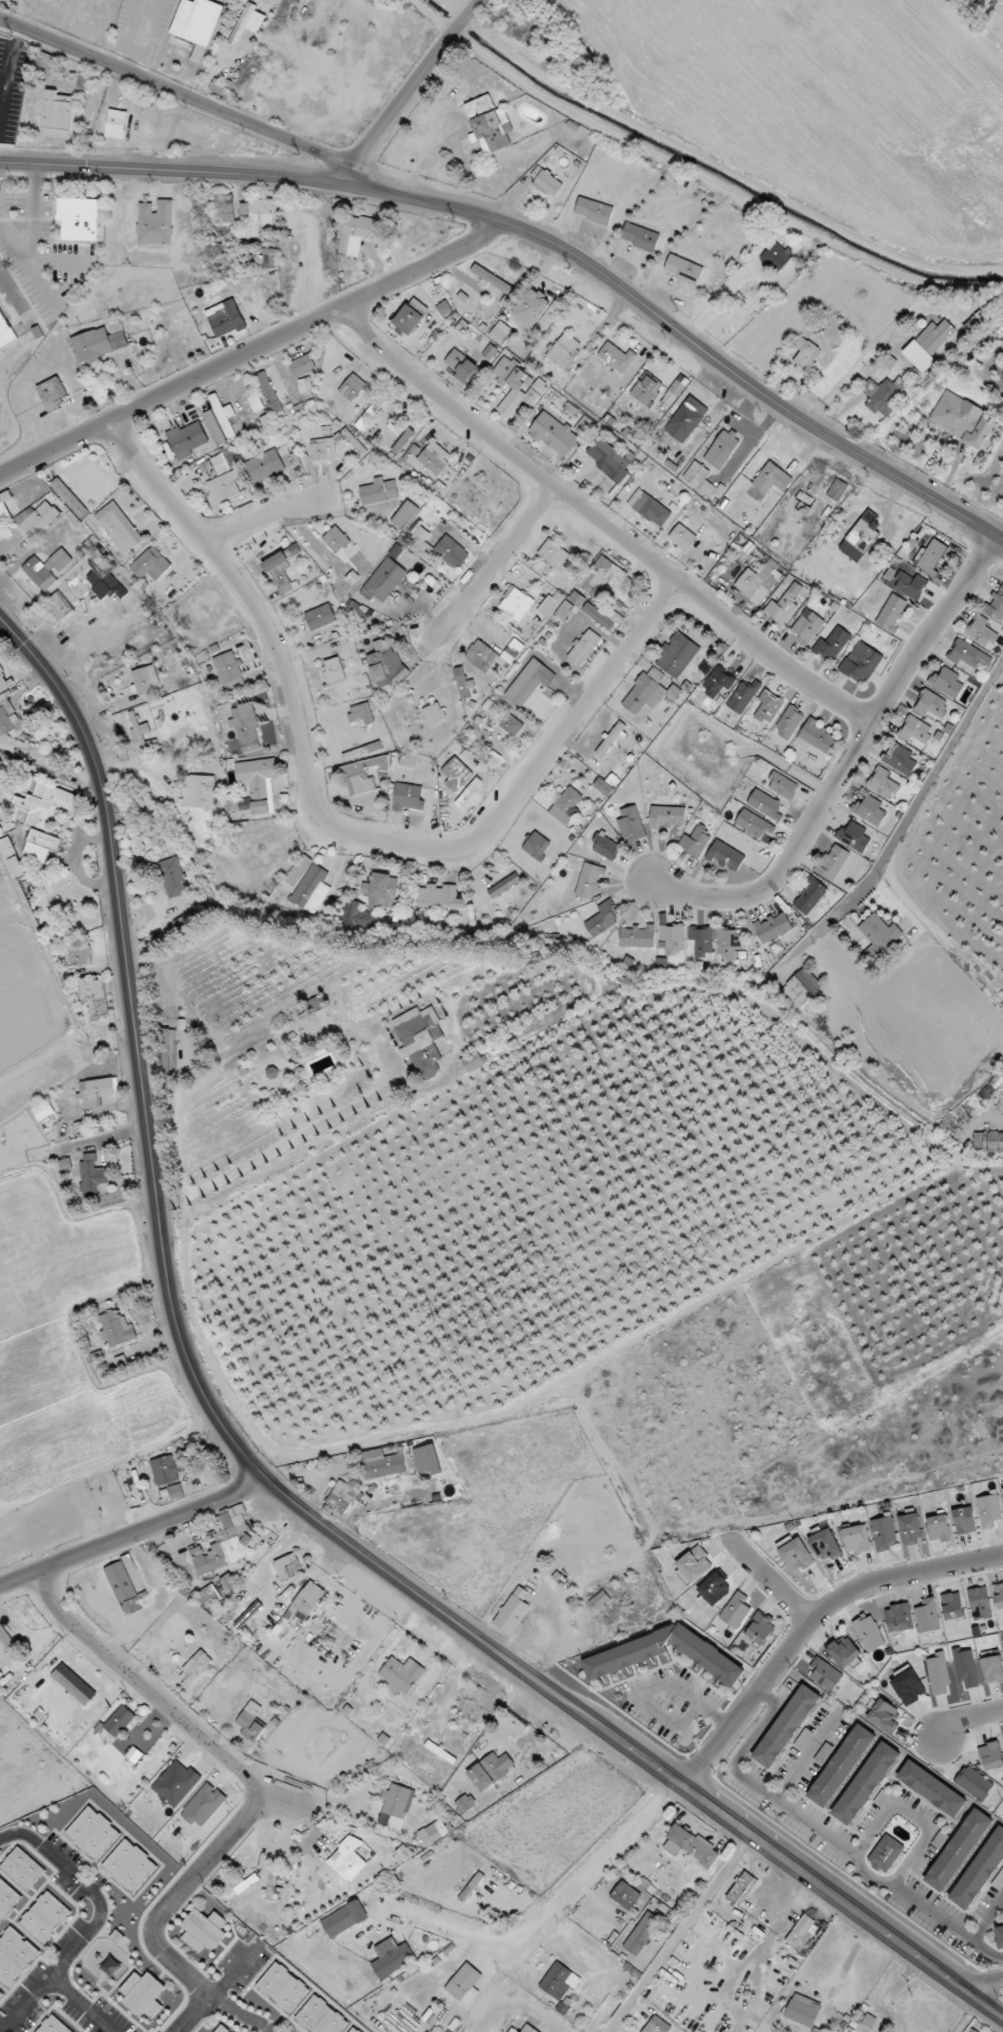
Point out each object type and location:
road: (478, 5)
building: (197, 24)
building: (243, 24)
building: (46, 60)
road: (178, 93)
road: (405, 96)
building: (58, 114)
building: (116, 124)
building: (489, 124)
road: (170, 170)
building: (548, 183)
road: (423, 201)
building: (224, 207)
building: (244, 209)
building: (594, 211)
building: (260, 216)
building: (79, 218)
building: (155, 223)
building: (355, 234)
building: (640, 237)
building: (214, 249)
building: (776, 256)
building: (270, 257)
building: (683, 269)
building: (494, 282)
building: (444, 309)
building: (411, 316)
building: (225, 318)
building: (729, 326)
building: (499, 332)
building: (4, 334)
building: (936, 336)
building: (92, 345)
road: (252, 348)
building: (490, 351)
building: (563, 351)
building: (806, 355)
building: (918, 356)
building: (616, 357)
building: (303, 365)
building: (461, 365)
road: (750, 384)
building: (352, 387)
building: (517, 387)
building: (646, 389)
building: (269, 392)
building: (52, 394)
building: (884, 395)
building: (669, 397)
building: (256, 402)
building: (371, 412)
building: (955, 413)
building: (223, 416)
building: (686, 419)
building: (215, 427)
building: (980, 433)
building: (554, 434)
building: (186, 440)
building: (403, 441)
building: (323, 449)
building: (722, 449)
building: (428, 458)
building: (609, 459)
building: (222, 463)
building: (265, 466)
building: (772, 478)
building: (702, 481)
building: (224, 486)
building: (837, 490)
building: (379, 491)
building: (69, 498)
building: (652, 510)
building: (405, 515)
building: (37, 518)
road: (259, 519)
road: (601, 522)
building: (118, 528)
building: (682, 537)
building: (861, 537)
building: (336, 540)
building: (437, 549)
building: (745, 551)
building: (554, 555)
building: (930, 556)
building: (151, 564)
road: (494, 564)
building: (280, 566)
building: (47, 568)
building: (100, 572)
building: (608, 576)
building: (384, 581)
building: (759, 581)
building: (909, 584)
building: (577, 598)
building: (516, 603)
building: (57, 605)
building: (995, 605)
building: (548, 606)
building: (781, 609)
building: (566, 610)
building: (892, 612)
building: (598, 616)
building: (320, 617)
building: (808, 626)
building: (980, 631)
building: (832, 644)
building: (584, 647)
building: (493, 655)
building: (676, 655)
building: (969, 656)
building: (862, 662)
building: (386, 665)
building: (705, 668)
building: (334, 670)
building: (229, 672)
building: (146, 679)
building: (3, 680)
building: (529, 681)
building: (718, 682)
building: (946, 682)
building: (464, 684)
building: (645, 691)
building: (674, 692)
building: (743, 696)
building: (931, 704)
building: (768, 707)
building: (497, 711)
building: (361, 713)
building: (433, 714)
building: (8, 717)
building: (789, 723)
building: (512, 725)
building: (138, 727)
building: (246, 728)
building: (916, 730)
building: (815, 737)
building: (362, 751)
building: (899, 759)
road: (848, 761)
road: (938, 769)
building: (456, 774)
building: (363, 775)
building: (256, 781)
building: (883, 783)
building: (782, 786)
building: (199, 791)
building: (408, 797)
building: (565, 805)
building: (765, 805)
building: (869, 810)
building: (667, 816)
building: (45, 818)
building: (630, 823)
building: (754, 824)
road: (333, 825)
building: (853, 837)
building: (695, 841)
building: (537, 845)
building: (605, 846)
building: (726, 856)
building: (832, 863)
building: (298, 869)
building: (176, 878)
building: (589, 881)
building: (504, 885)
building: (312, 889)
building: (381, 890)
building: (810, 895)
building: (439, 897)
building: (353, 913)
building: (603, 919)
building: (773, 927)
building: (880, 932)
building: (638, 936)
building: (672, 938)
building: (702, 940)
building: (729, 943)
building: (79, 955)
building: (802, 987)
road: (918, 988)
building: (94, 996)
building: (420, 1040)
building: (473, 1061)
building: (991, 1089)
building: (98, 1090)
building: (43, 1110)
building: (988, 1142)
building: (92, 1176)
building: (117, 1329)
building: (427, 1459)
building: (382, 1464)
building: (166, 1470)
road: (263, 1474)
building: (175, 1491)
building: (343, 1496)
building: (989, 1510)
building: (964, 1520)
building: (939, 1528)
building: (911, 1529)
road: (134, 1533)
building: (883, 1533)
building: (857, 1540)
building: (226, 1541)
building: (825, 1545)
building: (796, 1555)
building: (693, 1565)
building: (286, 1566)
road: (772, 1577)
building: (126, 1589)
building: (715, 1589)
building: (999, 1595)
building: (210, 1596)
building: (601, 1601)
building: (980, 1603)
building: (302, 1606)
building: (952, 1606)
building: (736, 1610)
building: (513, 1611)
building: (927, 1616)
building: (899, 1618)
road: (811, 1622)
building: (760, 1627)
building: (869, 1633)
building: (8, 1642)
building: (843, 1651)
building: (623, 1656)
building: (965, 1667)
building: (194, 1668)
building: (993, 1669)
building: (938, 1673)
building: (825, 1674)
building: (402, 1675)
building: (71, 1687)
road: (156, 1698)
building: (884, 1716)
road: (965, 1718)
building: (251, 1722)
building: (514, 1724)
building: (787, 1726)
building: (804, 1739)
building: (824, 1754)
building: (991, 1756)
building: (841, 1766)
building: (490, 1770)
building: (176, 1783)
building: (866, 1783)
building: (974, 1783)
building: (932, 1789)
building: (465, 1803)
building: (203, 1805)
building: (395, 1806)
building: (434, 1832)
building: (93, 1833)
road: (823, 1833)
road: (6, 1835)
building: (941, 1840)
building: (691, 1846)
building: (959, 1850)
building: (886, 1854)
building: (347, 1859)
building: (130, 1865)
building: (23, 1868)
building: (980, 1871)
building: (999, 1881)
building: (244, 1883)
building: (471, 1887)
building: (740, 1887)
building: (626, 1895)
road: (794, 1897)
building: (7, 1898)
road: (550, 1912)
building: (45, 1917)
road: (152, 1917)
road: (987, 1918)
building: (344, 1919)
road: (91, 1927)
building: (203, 1930)
building: (642, 1933)
road: (679, 1933)
building: (802, 1933)
building: (1000, 1935)
road: (763, 1945)
building: (14, 1955)
building: (392, 1957)
road: (846, 1967)
building: (559, 1981)
building: (465, 1984)
road: (986, 1985)
building: (283, 1987)
road: (891, 1991)
building: (0, 1992)
building: (143, 1994)
road: (81, 2004)
building: (406, 2006)
building: (803, 2010)
road: (191, 2013)
road: (968, 2016)
building: (321, 2017)
building: (54, 2025)
building: (657, 2025)
building: (529, 2028)
building: (222, 2029)
building: (353, 2030)
building: (513, 2030)
building: (971, 2031)

